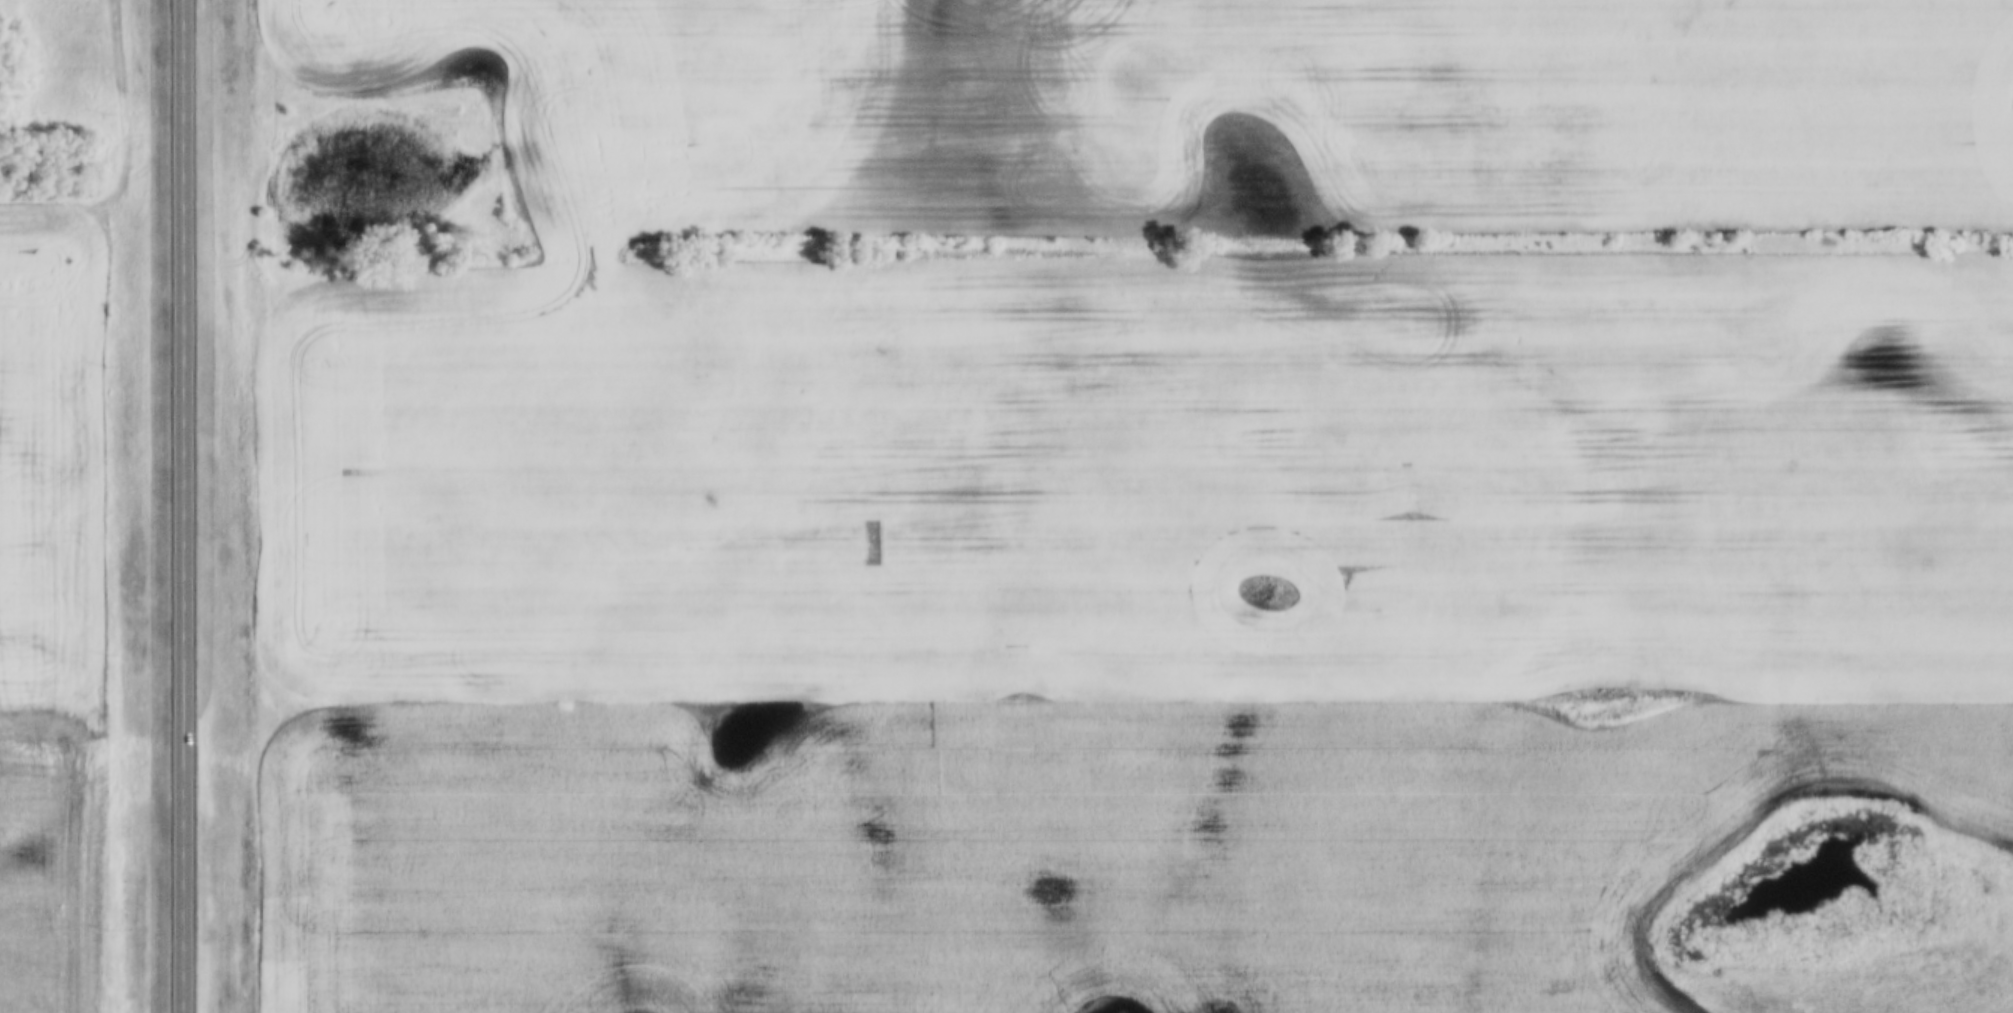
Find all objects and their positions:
road: (123, 156)
road: (182, 506)

